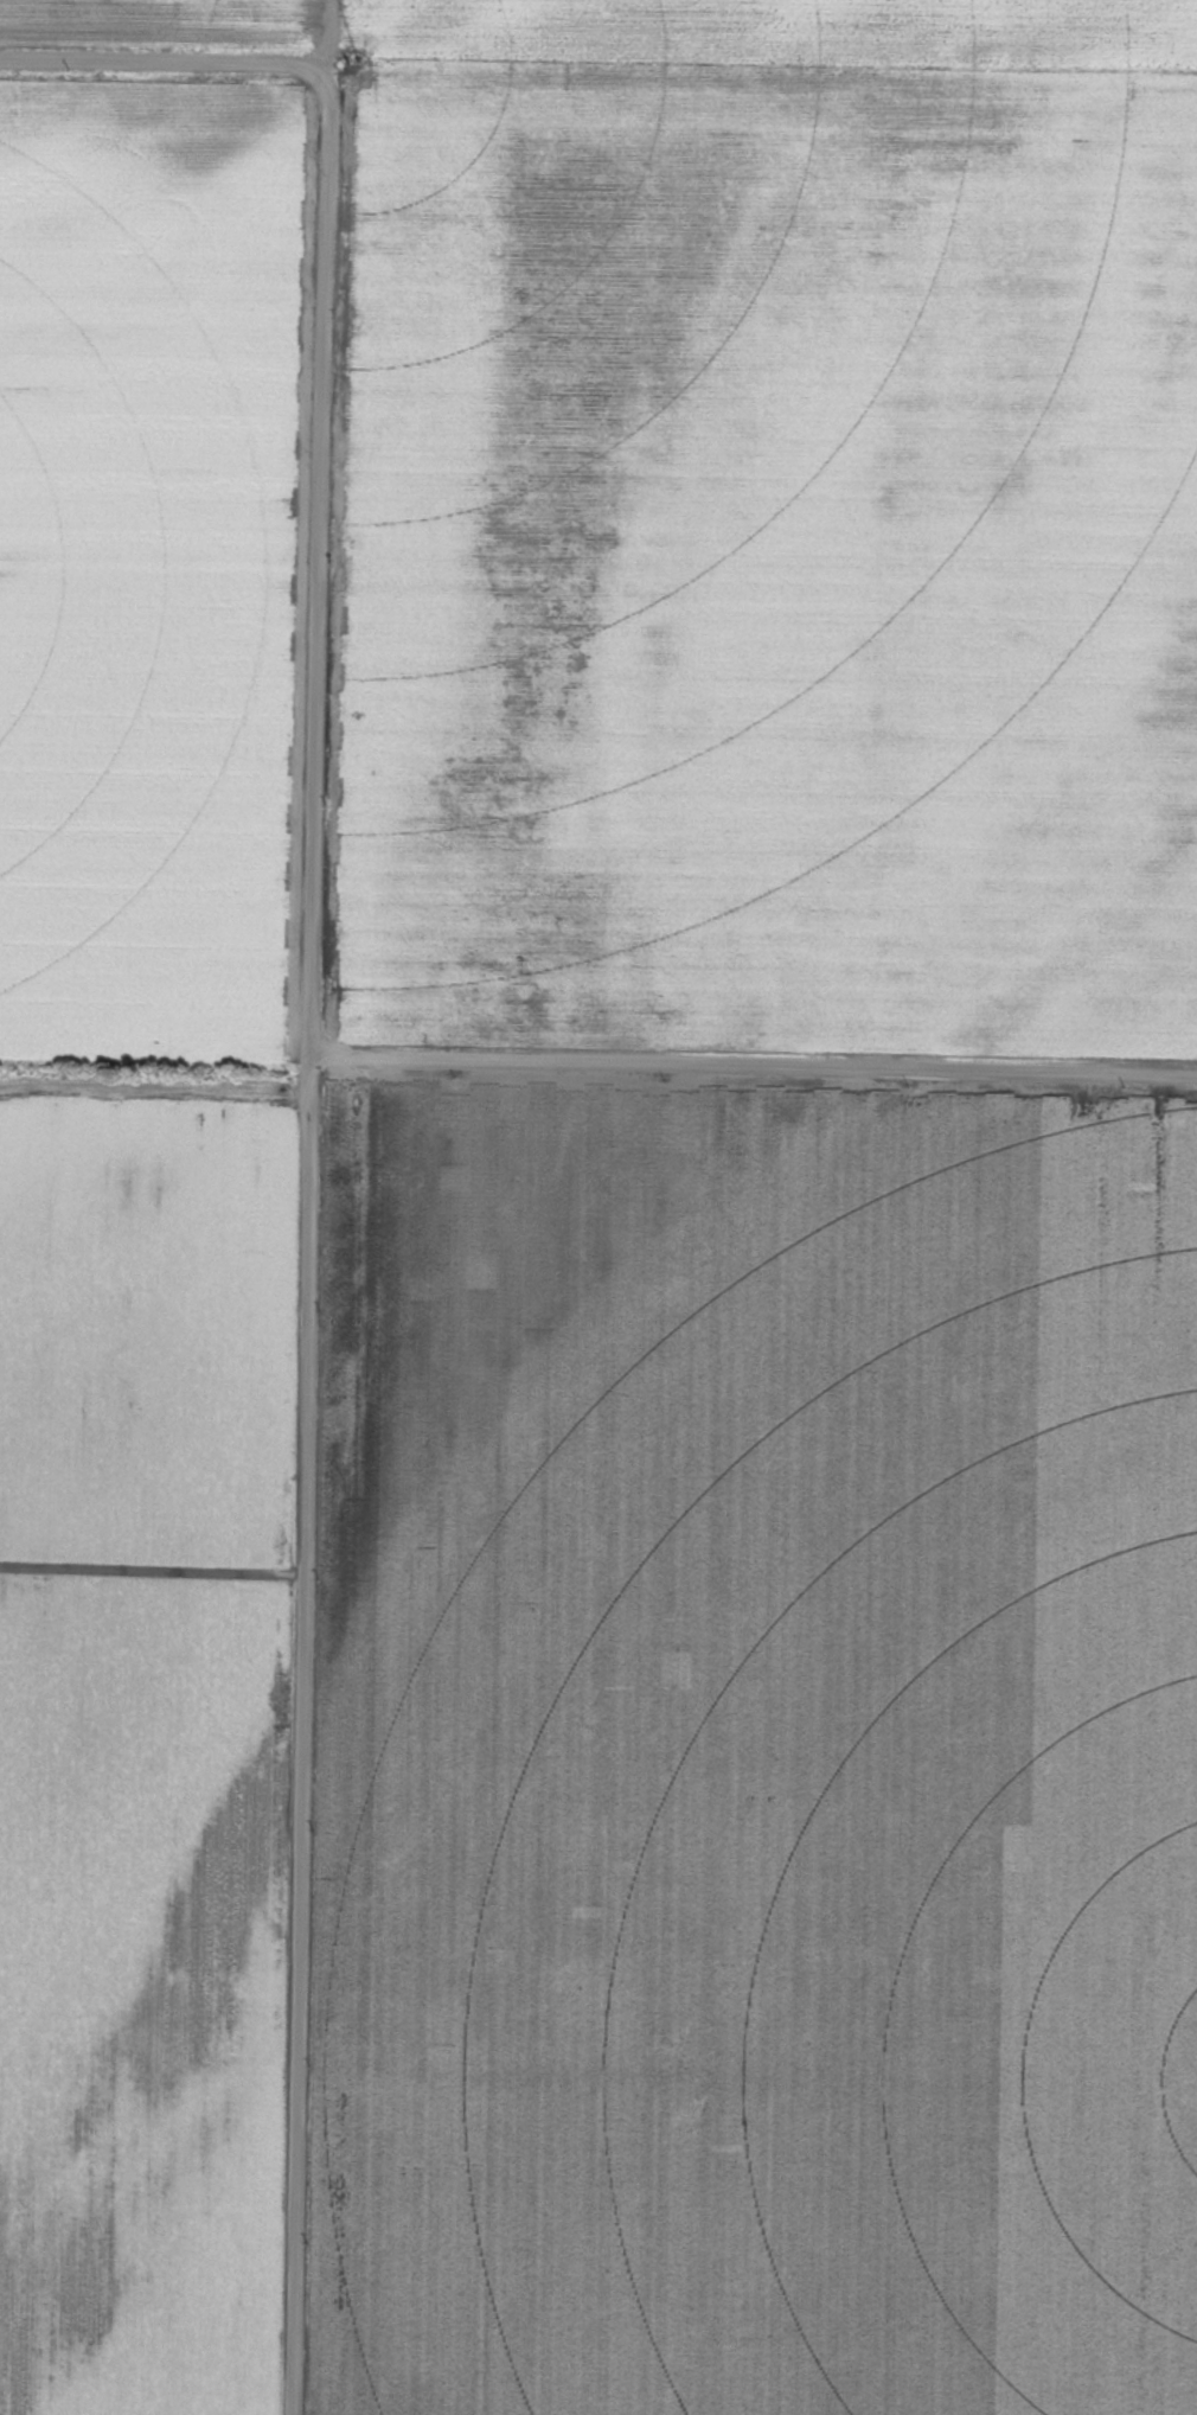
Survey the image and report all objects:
road: (338, 38)
road: (162, 62)
road: (755, 1066)
road: (311, 1242)

